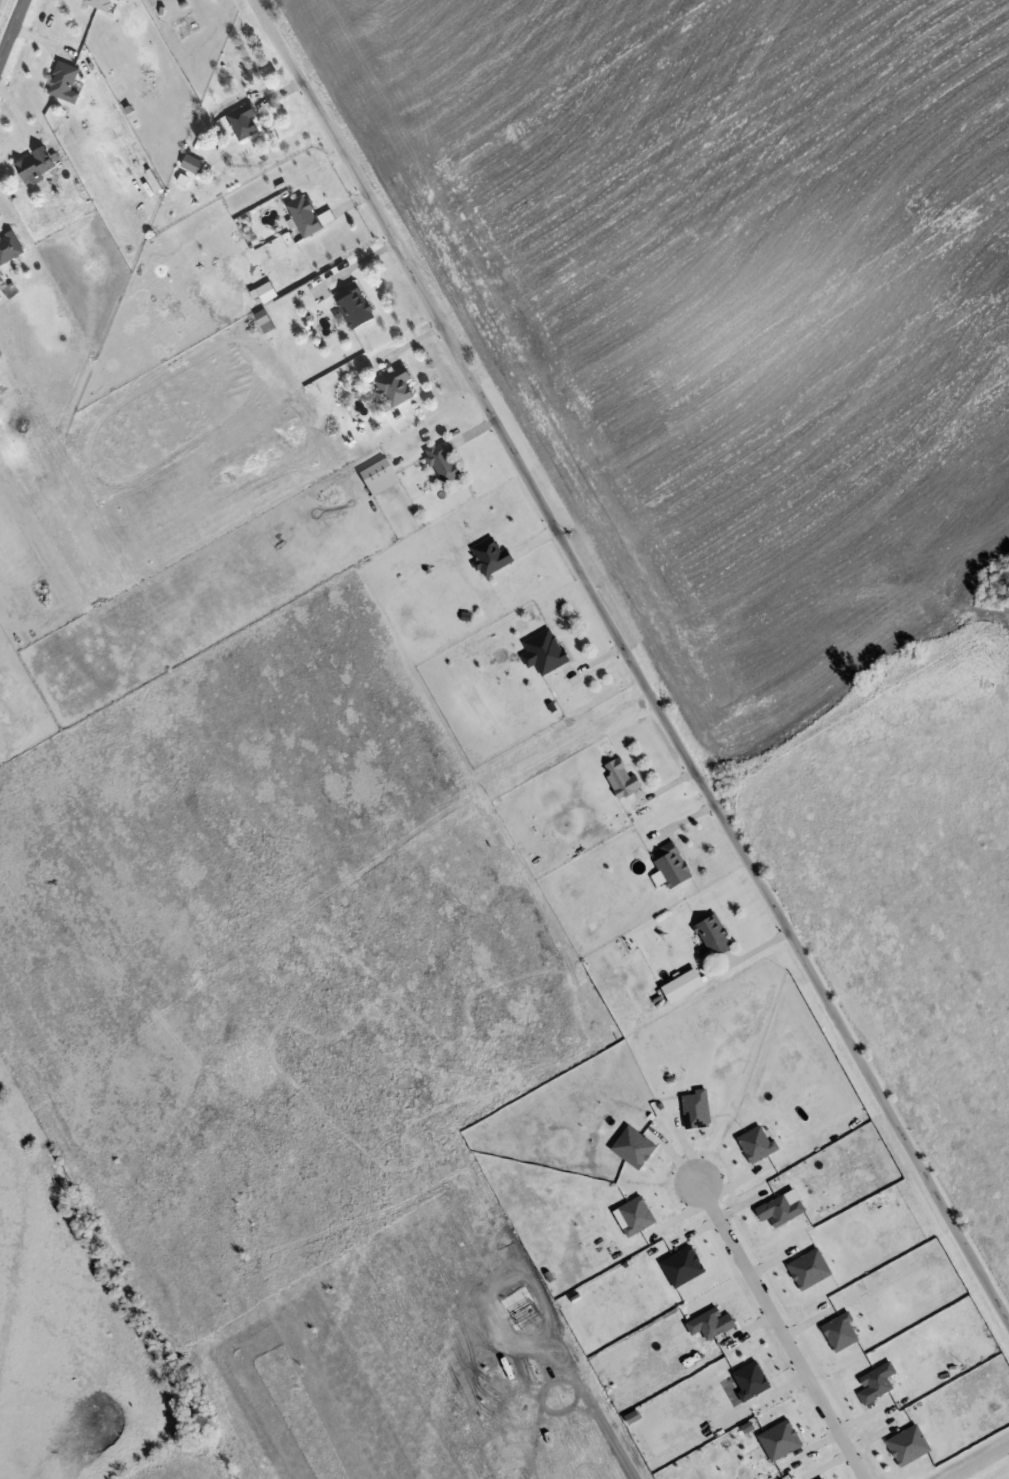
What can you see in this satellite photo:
building: (95, 2)
road: (9, 22)
building: (58, 79)
building: (236, 117)
building: (186, 160)
building: (28, 162)
building: (298, 212)
building: (6, 244)
building: (349, 302)
building: (391, 383)
building: (440, 461)
building: (376, 475)
building: (488, 554)
building: (543, 650)
road: (630, 664)
building: (620, 775)
building: (669, 863)
building: (707, 935)
road: (778, 1330)
road: (976, 1460)

